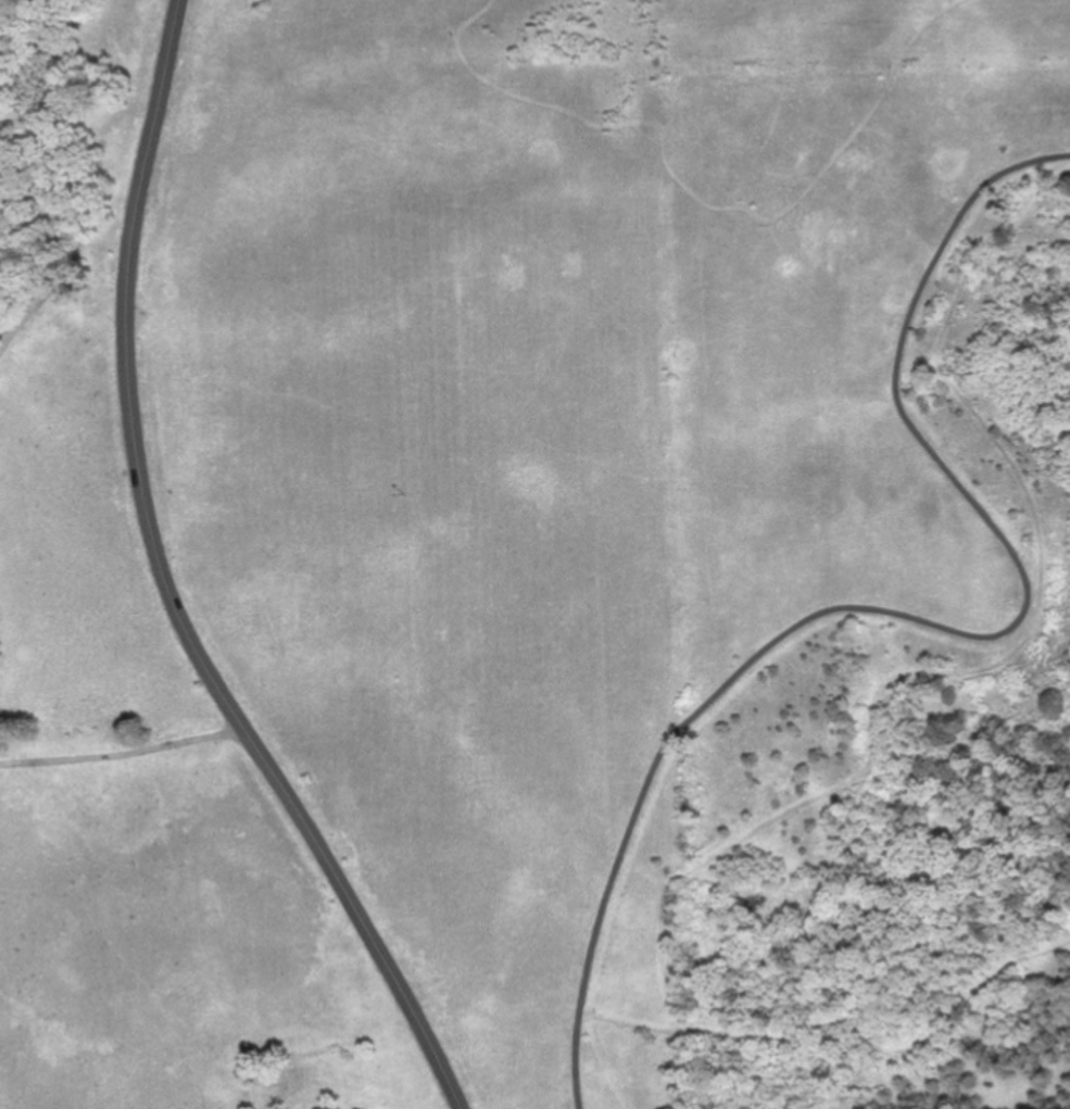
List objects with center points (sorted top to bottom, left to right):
road: (93, 184)
road: (701, 201)
park: (534, 554)
road: (169, 588)
road: (931, 625)
road: (1006, 658)
road: (125, 757)
road: (848, 1018)
road: (603, 1061)

